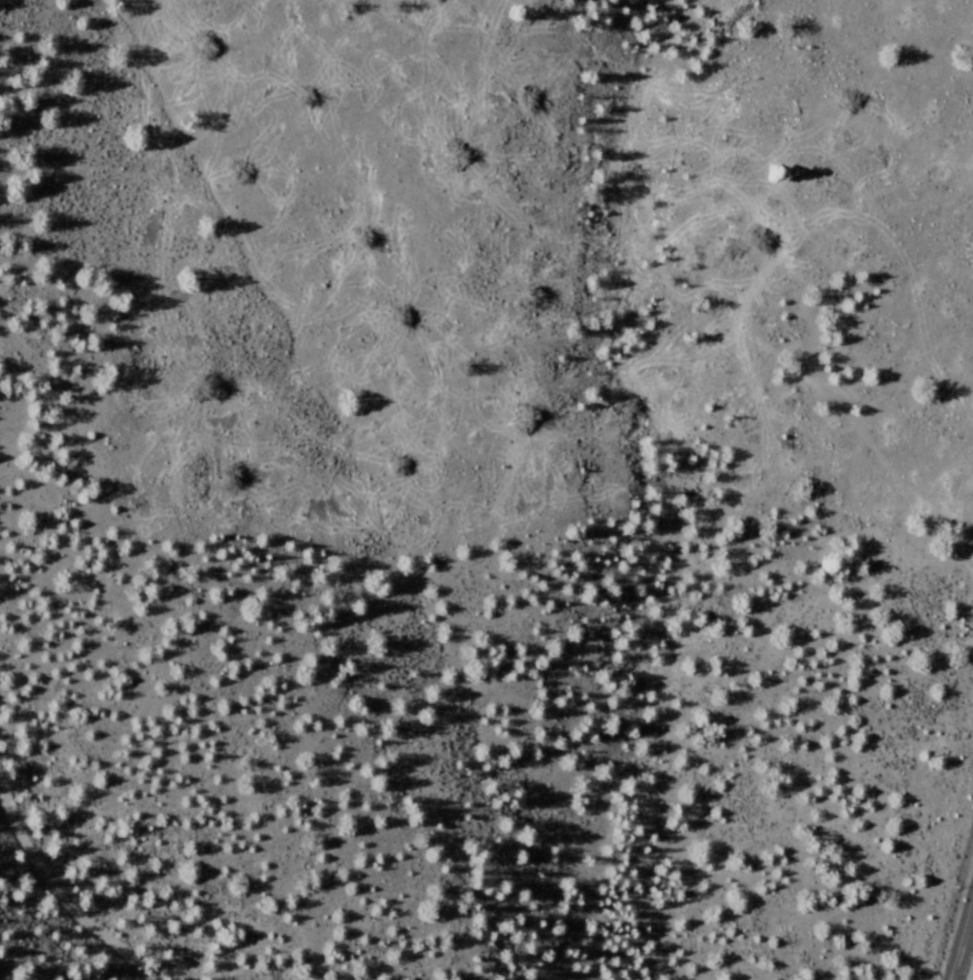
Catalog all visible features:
road: (60, 897)
road: (961, 936)

